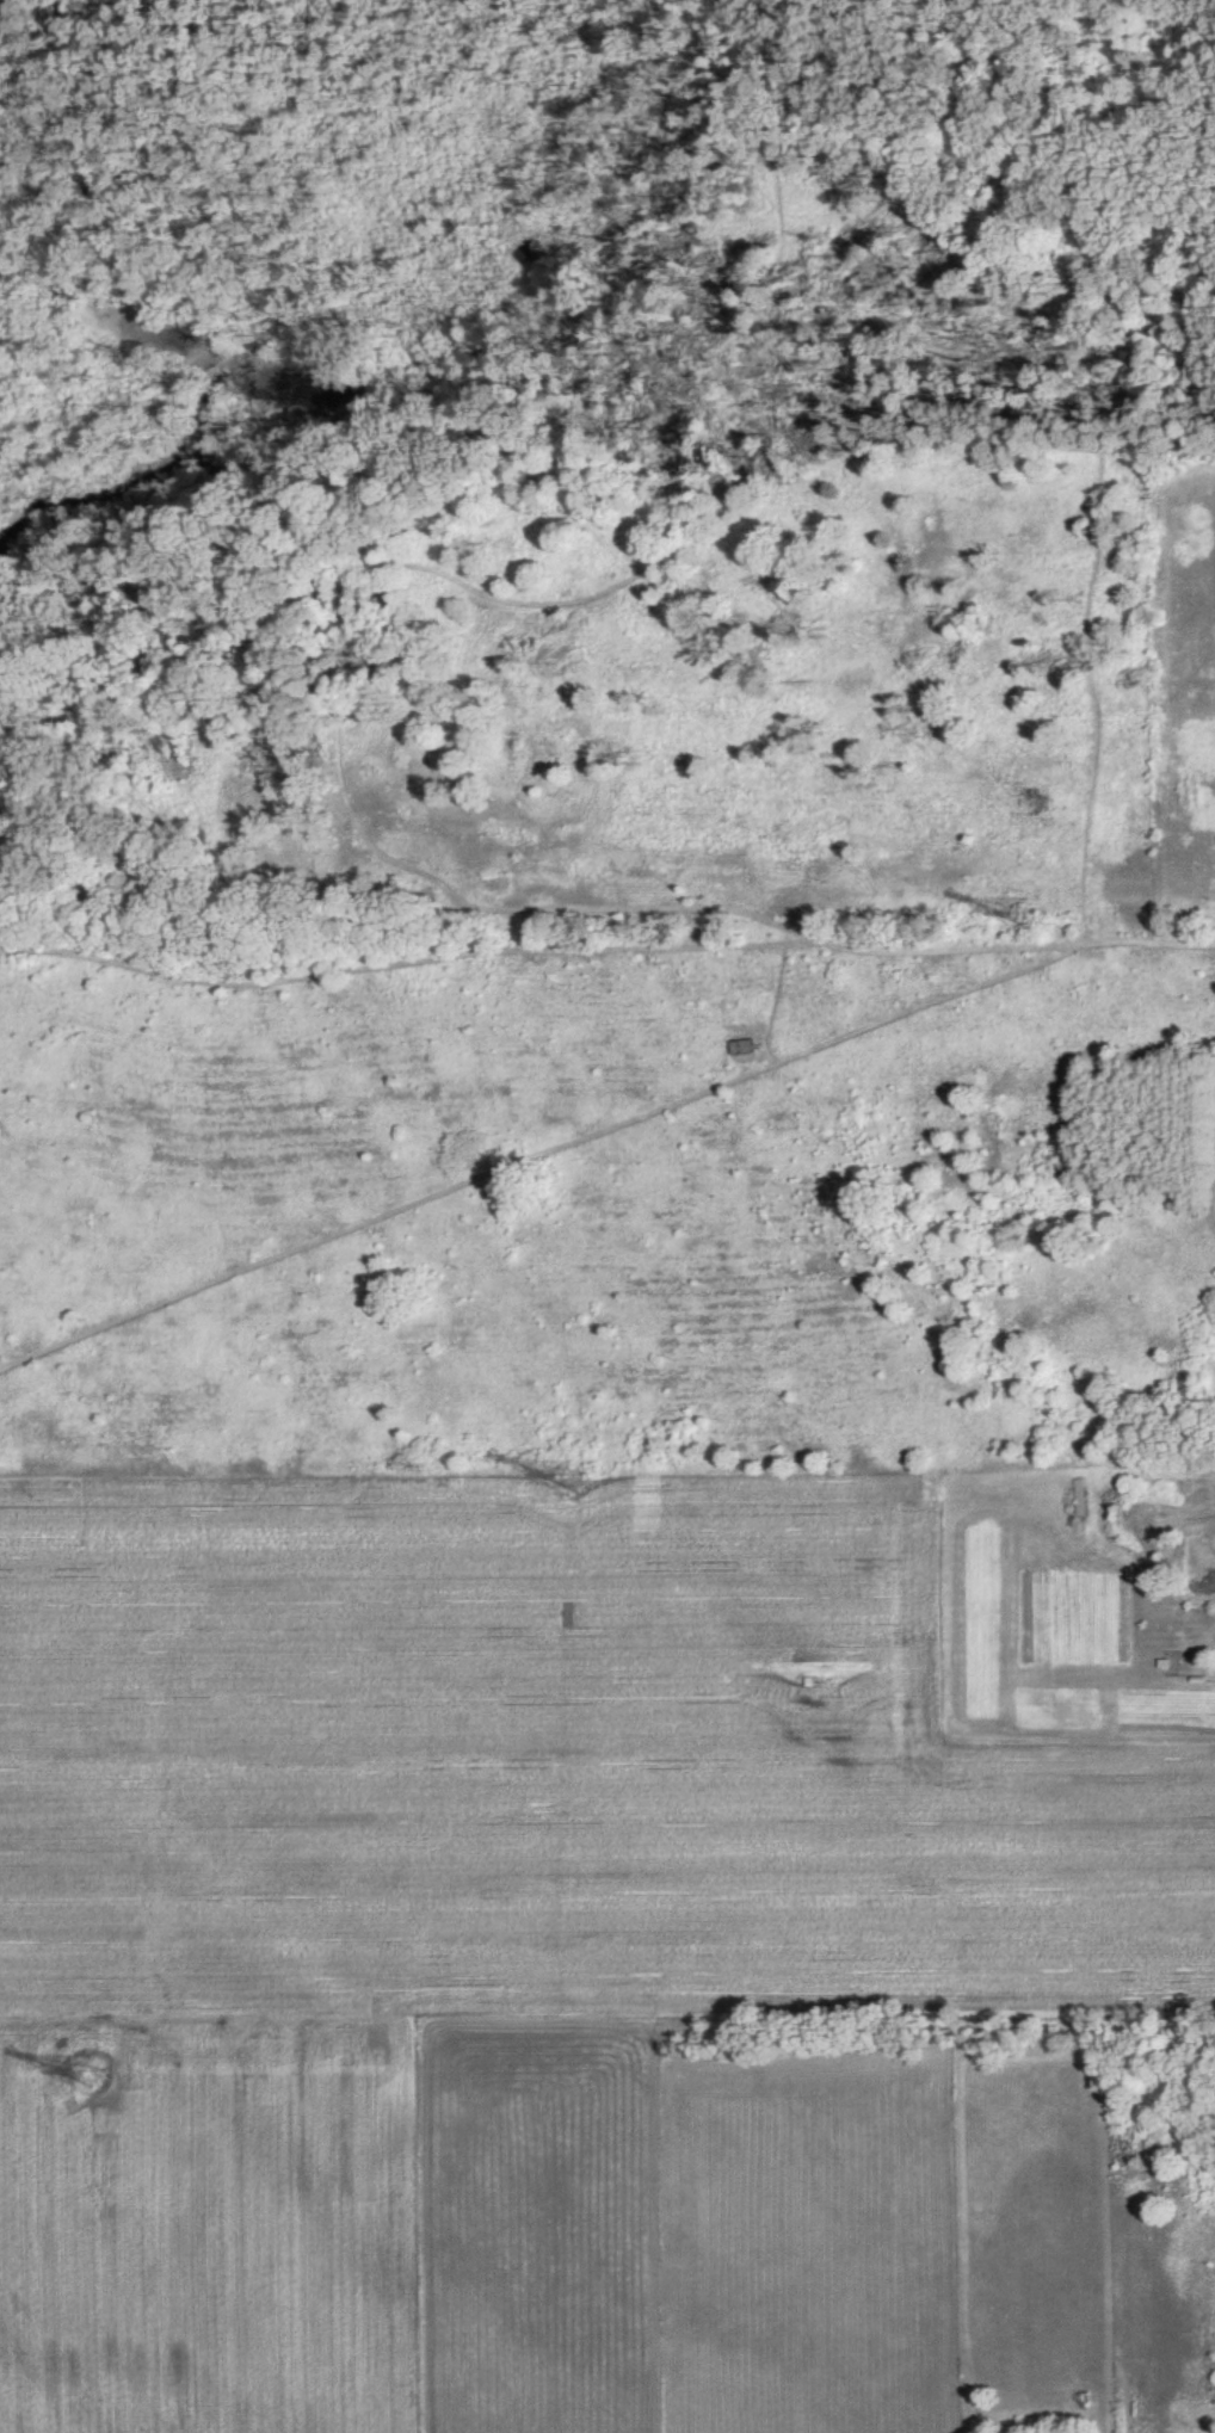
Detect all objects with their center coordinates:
road: (1025, 148)
road: (384, 279)
road: (338, 377)
road: (575, 433)
road: (302, 469)
road: (1088, 469)
road: (553, 604)
road: (969, 717)
road: (378, 915)
power tower: (1024, 916)
road: (604, 938)
road: (539, 1150)
power tower: (571, 1477)
power tower: (91, 2073)

